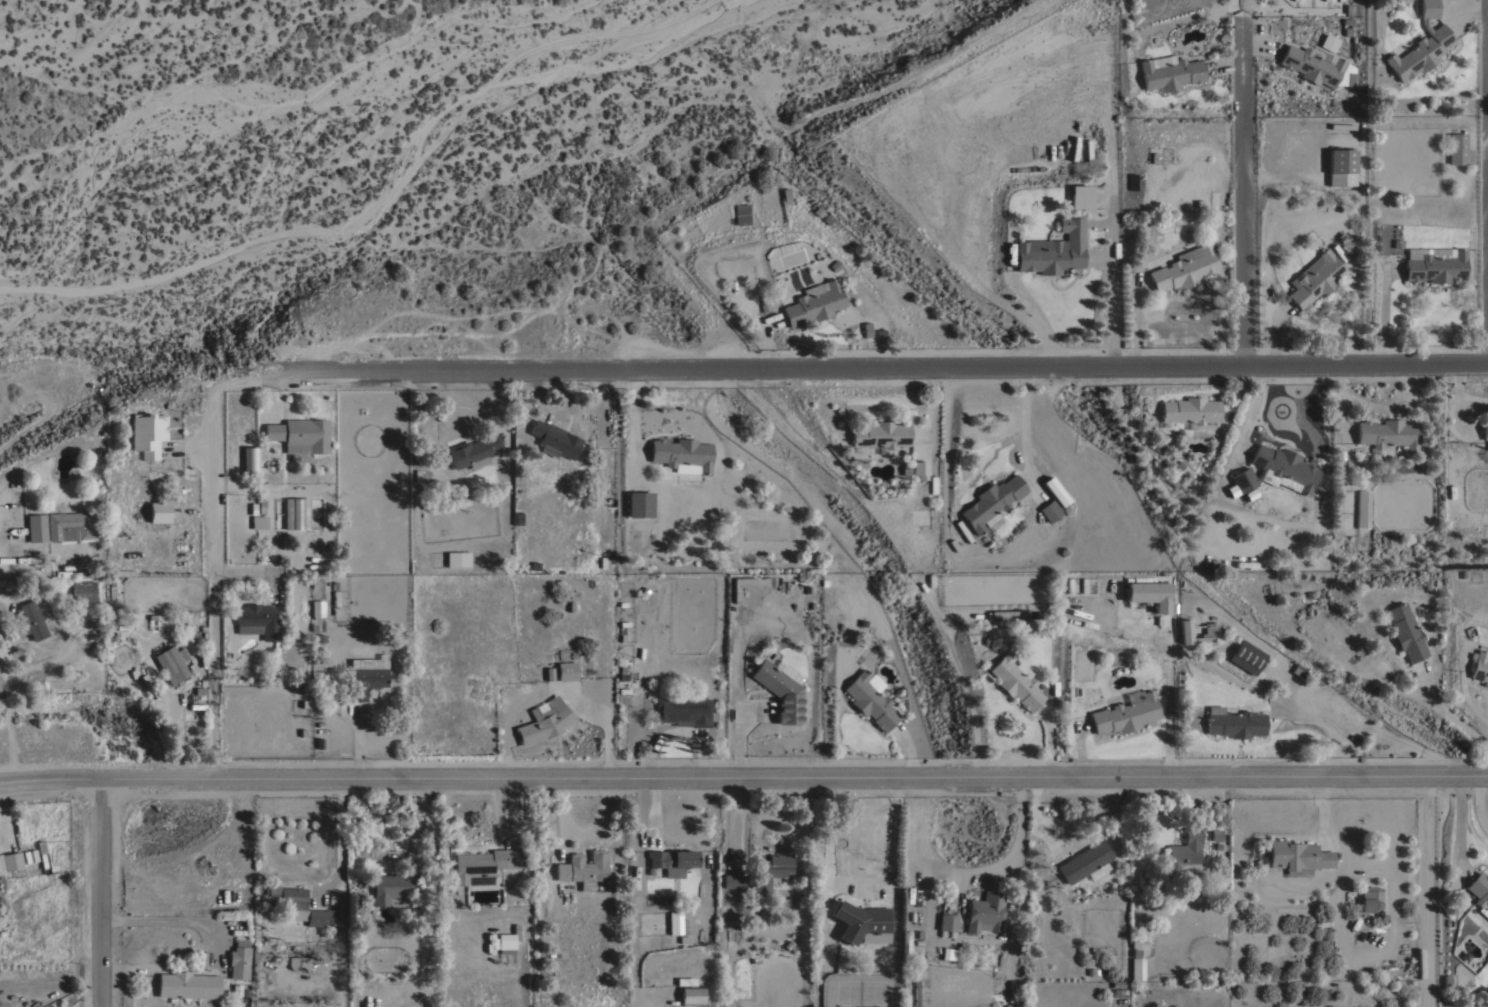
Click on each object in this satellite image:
road: (1469, 7)
building: (1326, 43)
road: (1255, 45)
building: (1421, 45)
road: (1226, 65)
building: (1311, 65)
building: (1170, 72)
building: (1458, 149)
building: (905, 156)
building: (1341, 167)
road: (1243, 196)
building: (1080, 197)
building: (742, 214)
building: (1053, 249)
building: (1434, 264)
building: (1184, 268)
building: (1316, 278)
road: (1028, 301)
building: (814, 303)
road: (1114, 304)
road: (1383, 315)
road: (1135, 325)
road: (1274, 333)
road: (767, 342)
road: (848, 367)
road: (1460, 392)
road: (572, 406)
road: (1379, 406)
road: (1257, 408)
road: (928, 410)
building: (1190, 410)
road: (1341, 414)
building: (1485, 428)
road: (1024, 430)
building: (146, 433)
building: (1387, 433)
building: (300, 435)
building: (880, 435)
building: (555, 439)
building: (473, 451)
building: (682, 454)
building: (250, 461)
building: (921, 468)
building: (1276, 468)
building: (991, 501)
building: (639, 504)
building: (1362, 508)
building: (1050, 510)
building: (159, 511)
building: (296, 513)
building: (259, 522)
building: (69, 525)
building: (34, 530)
building: (962, 530)
building: (457, 558)
building: (36, 572)
building: (91, 573)
road: (213, 584)
building: (82, 591)
building: (1148, 594)
building: (317, 608)
building: (1009, 615)
building: (32, 620)
building: (257, 620)
building: (1405, 632)
building: (1209, 633)
building: (1246, 656)
building: (170, 664)
building: (1479, 666)
building: (566, 670)
building: (366, 676)
building: (1015, 681)
building: (781, 688)
road: (549, 689)
road: (1467, 700)
building: (869, 701)
road: (1167, 702)
building: (684, 711)
road: (1451, 713)
building: (1125, 714)
building: (544, 721)
building: (1233, 722)
road: (1319, 728)
road: (739, 730)
road: (674, 732)
road: (700, 742)
road: (1048, 742)
road: (358, 744)
road: (1079, 751)
road: (906, 752)
road: (795, 774)
road: (51, 781)
road: (1478, 803)
road: (1321, 805)
road: (4, 807)
road: (1460, 827)
building: (1215, 834)
road: (340, 841)
building: (878, 843)
building: (1185, 852)
building: (1297, 856)
building: (11, 860)
building: (672, 861)
building: (1084, 861)
building: (486, 864)
building: (583, 868)
building: (770, 871)
building: (1097, 871)
road: (963, 877)
building: (733, 881)
building: (395, 888)
building: (1479, 892)
road: (99, 893)
building: (1370, 893)
building: (295, 905)
building: (985, 912)
building: (947, 922)
building: (676, 923)
building: (862, 923)
building: (508, 940)
building: (907, 942)
building: (239, 959)
building: (298, 962)
building: (1137, 968)
building: (685, 981)
building: (188, 985)
building: (1012, 993)
building: (692, 995)

